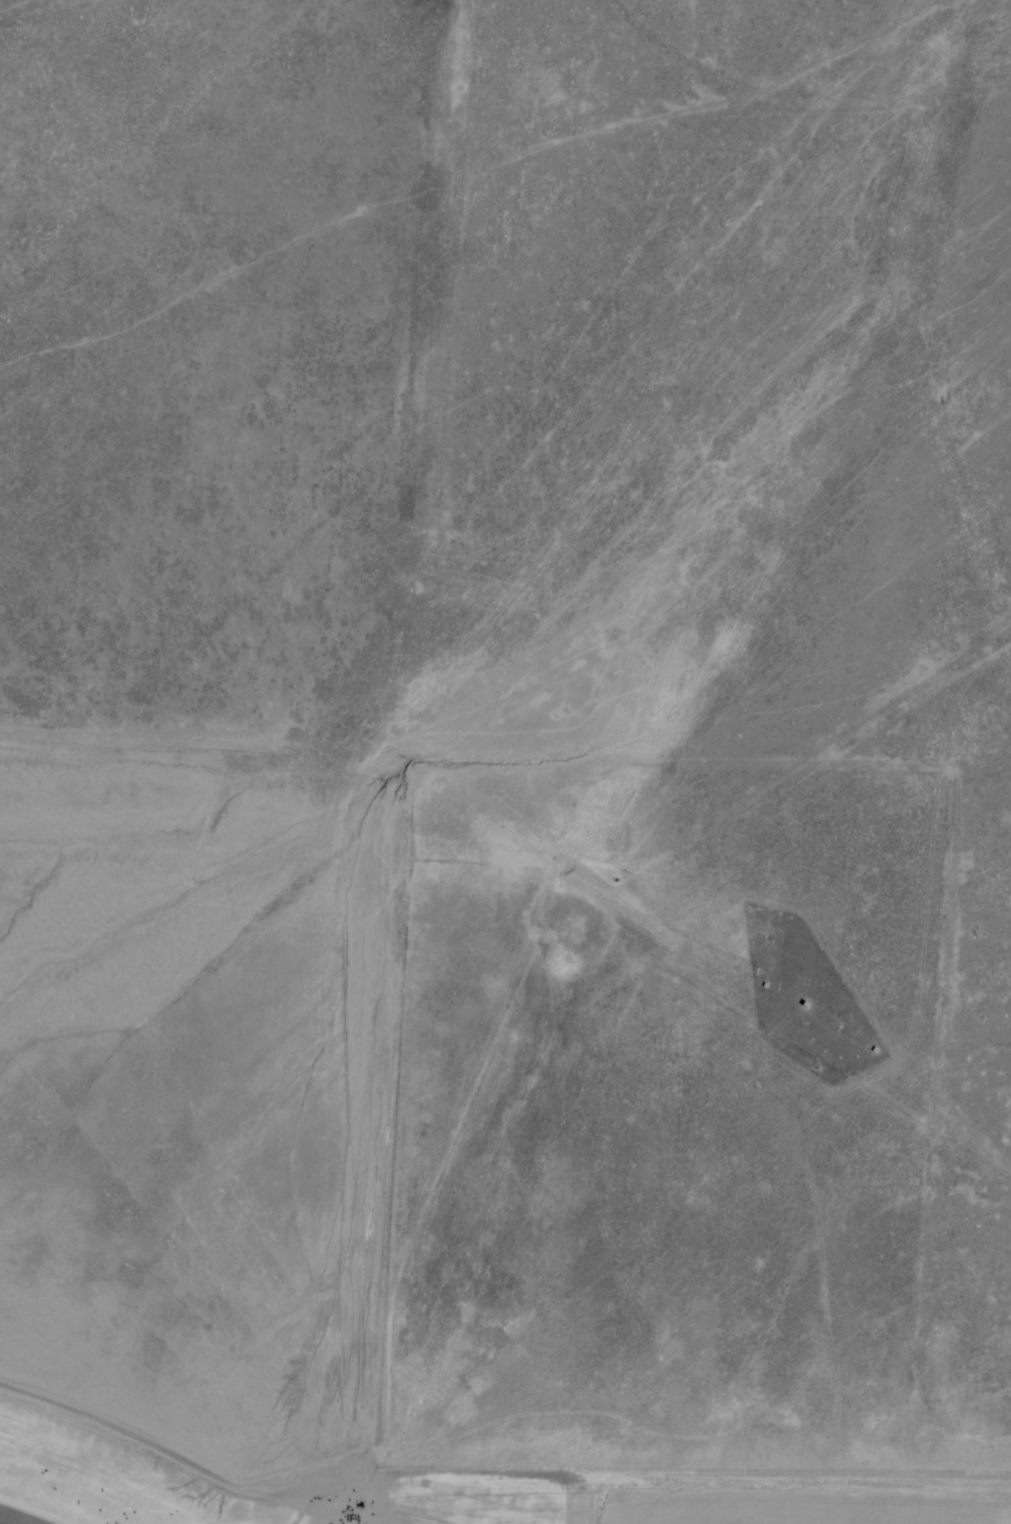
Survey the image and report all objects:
road: (850, 730)

